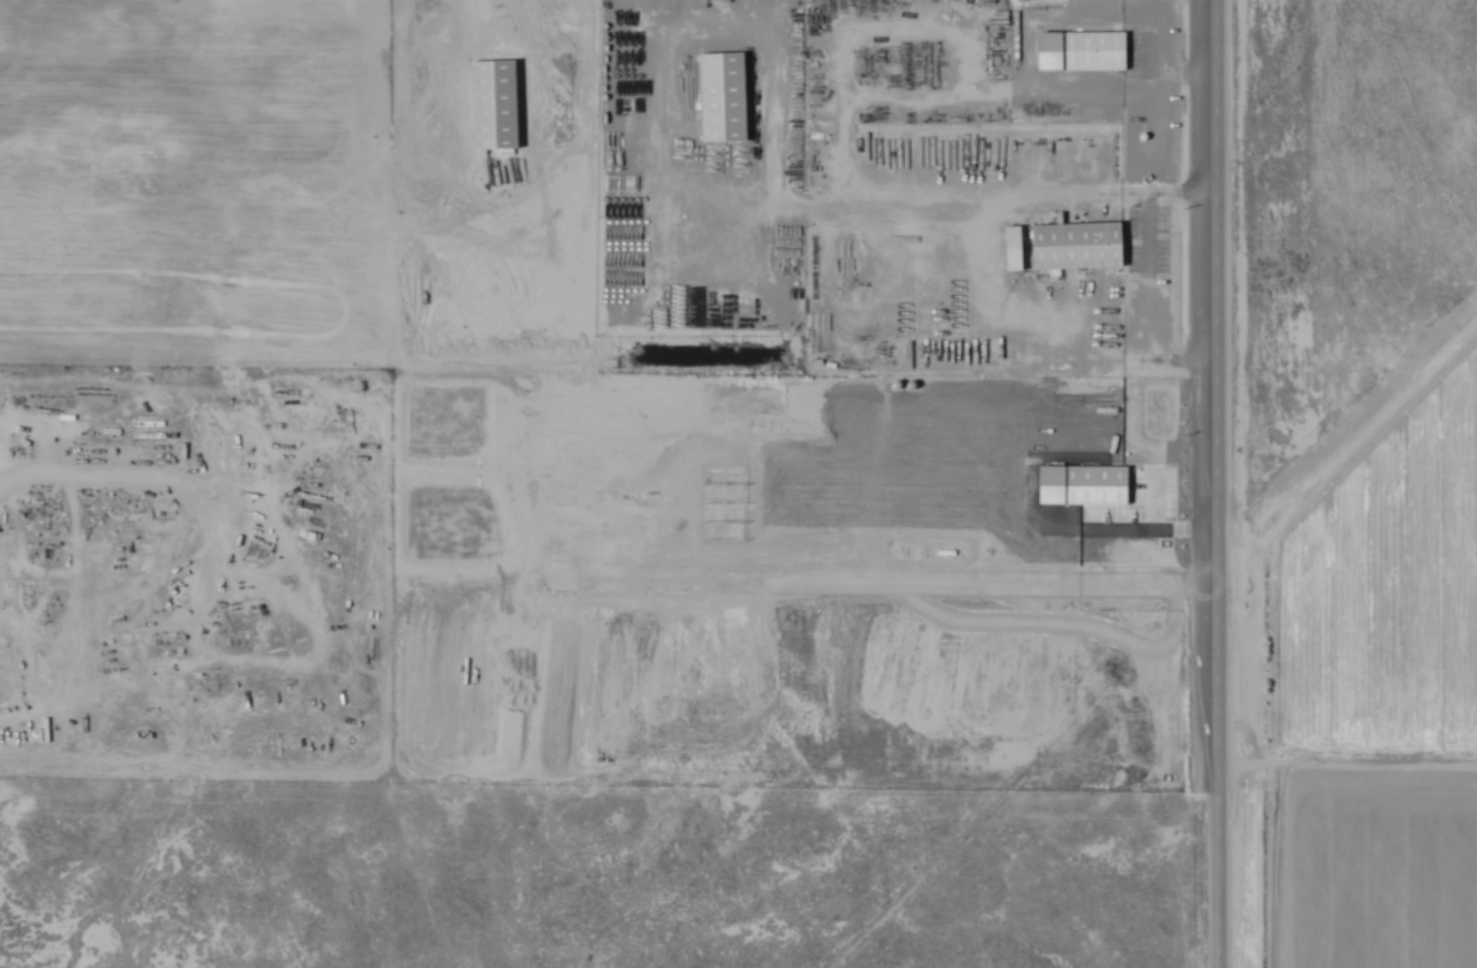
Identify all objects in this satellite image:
road: (1148, 275)
road: (1215, 483)
road: (1177, 496)
crop: (1346, 674)

